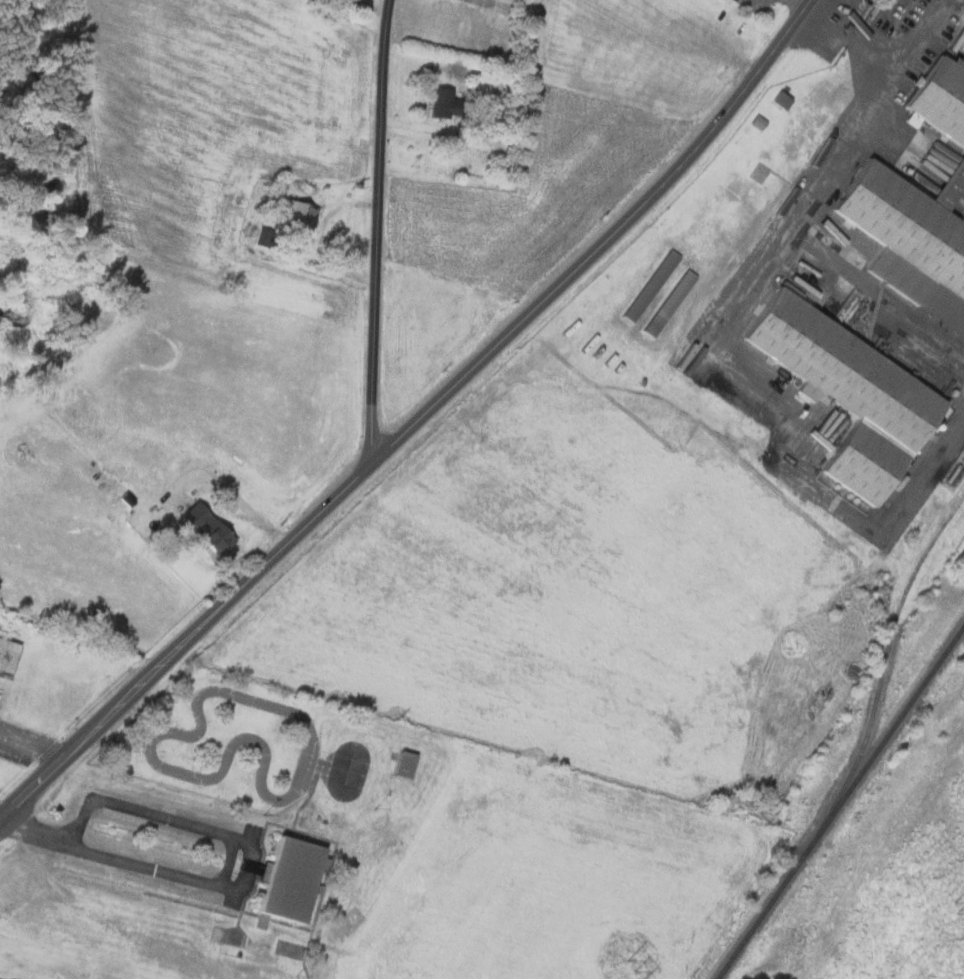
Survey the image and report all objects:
road: (872, 46)
road: (892, 56)
building: (441, 101)
building: (917, 205)
building: (297, 214)
road: (378, 233)
building: (650, 285)
building: (669, 300)
road: (719, 334)
building: (847, 392)
road: (420, 424)
building: (203, 527)
building: (7, 654)
railway: (883, 672)
road: (36, 741)
building: (403, 764)
road: (107, 799)
railway: (841, 803)
road: (81, 848)
road: (230, 859)
building: (287, 878)
power tower: (957, 906)
power tower: (634, 971)

